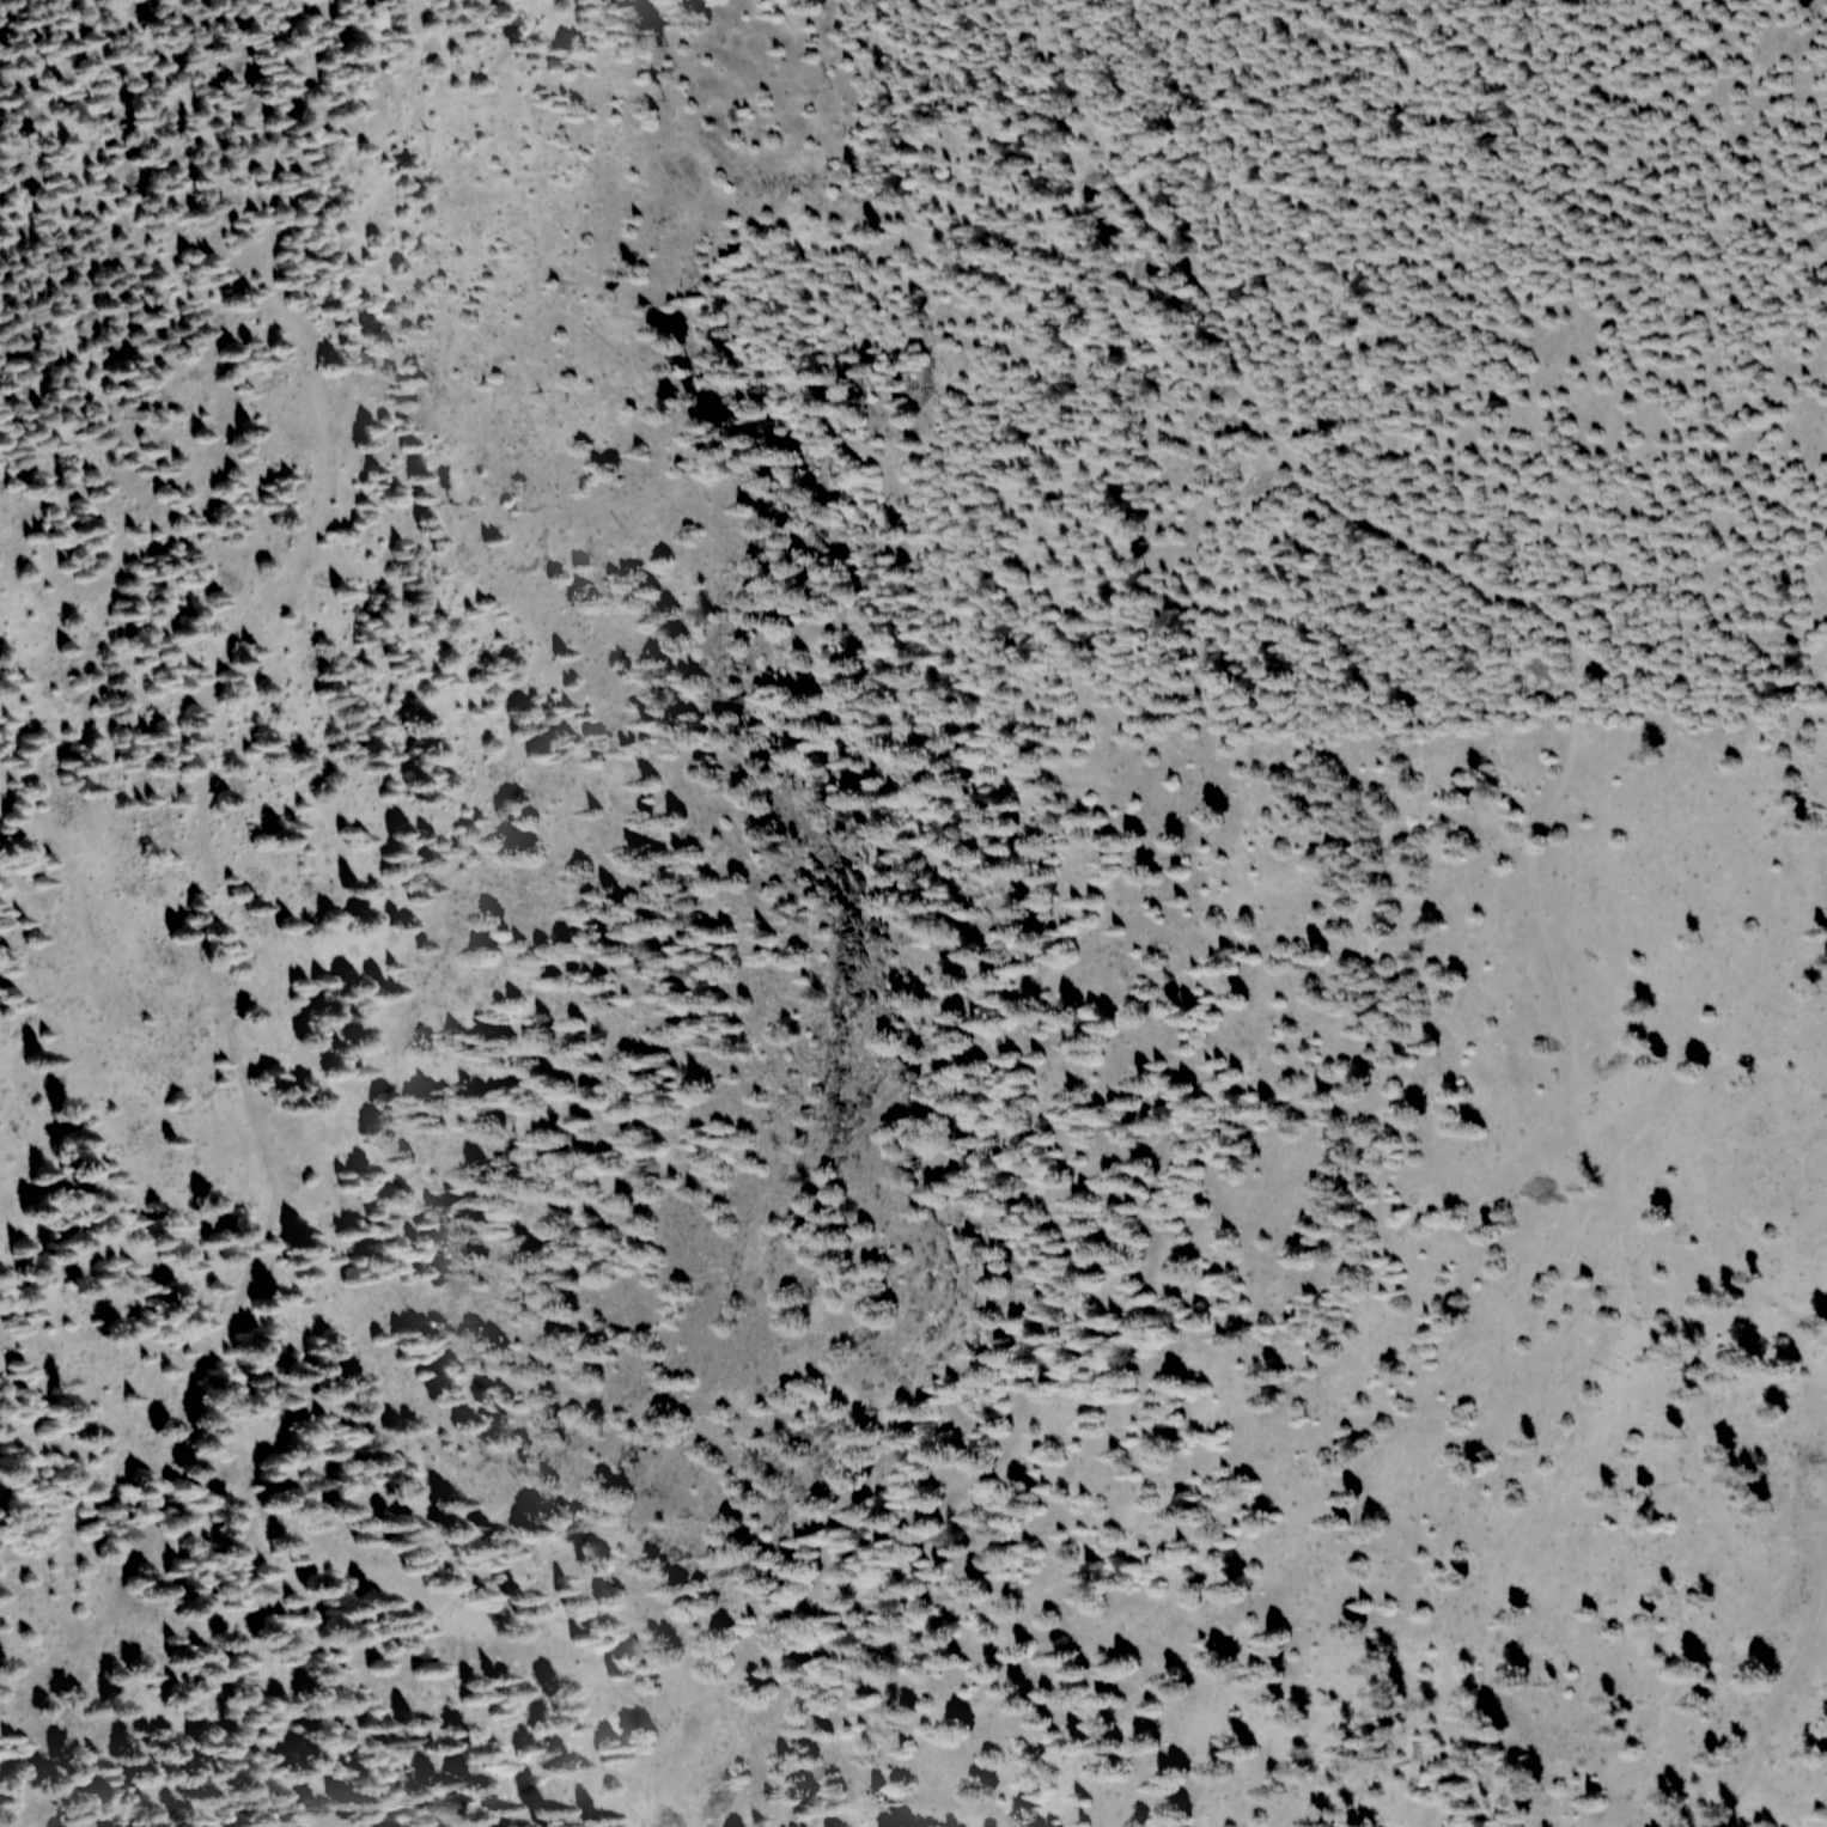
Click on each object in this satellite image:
road: (1551, 652)
road: (239, 865)
road: (1754, 1704)

